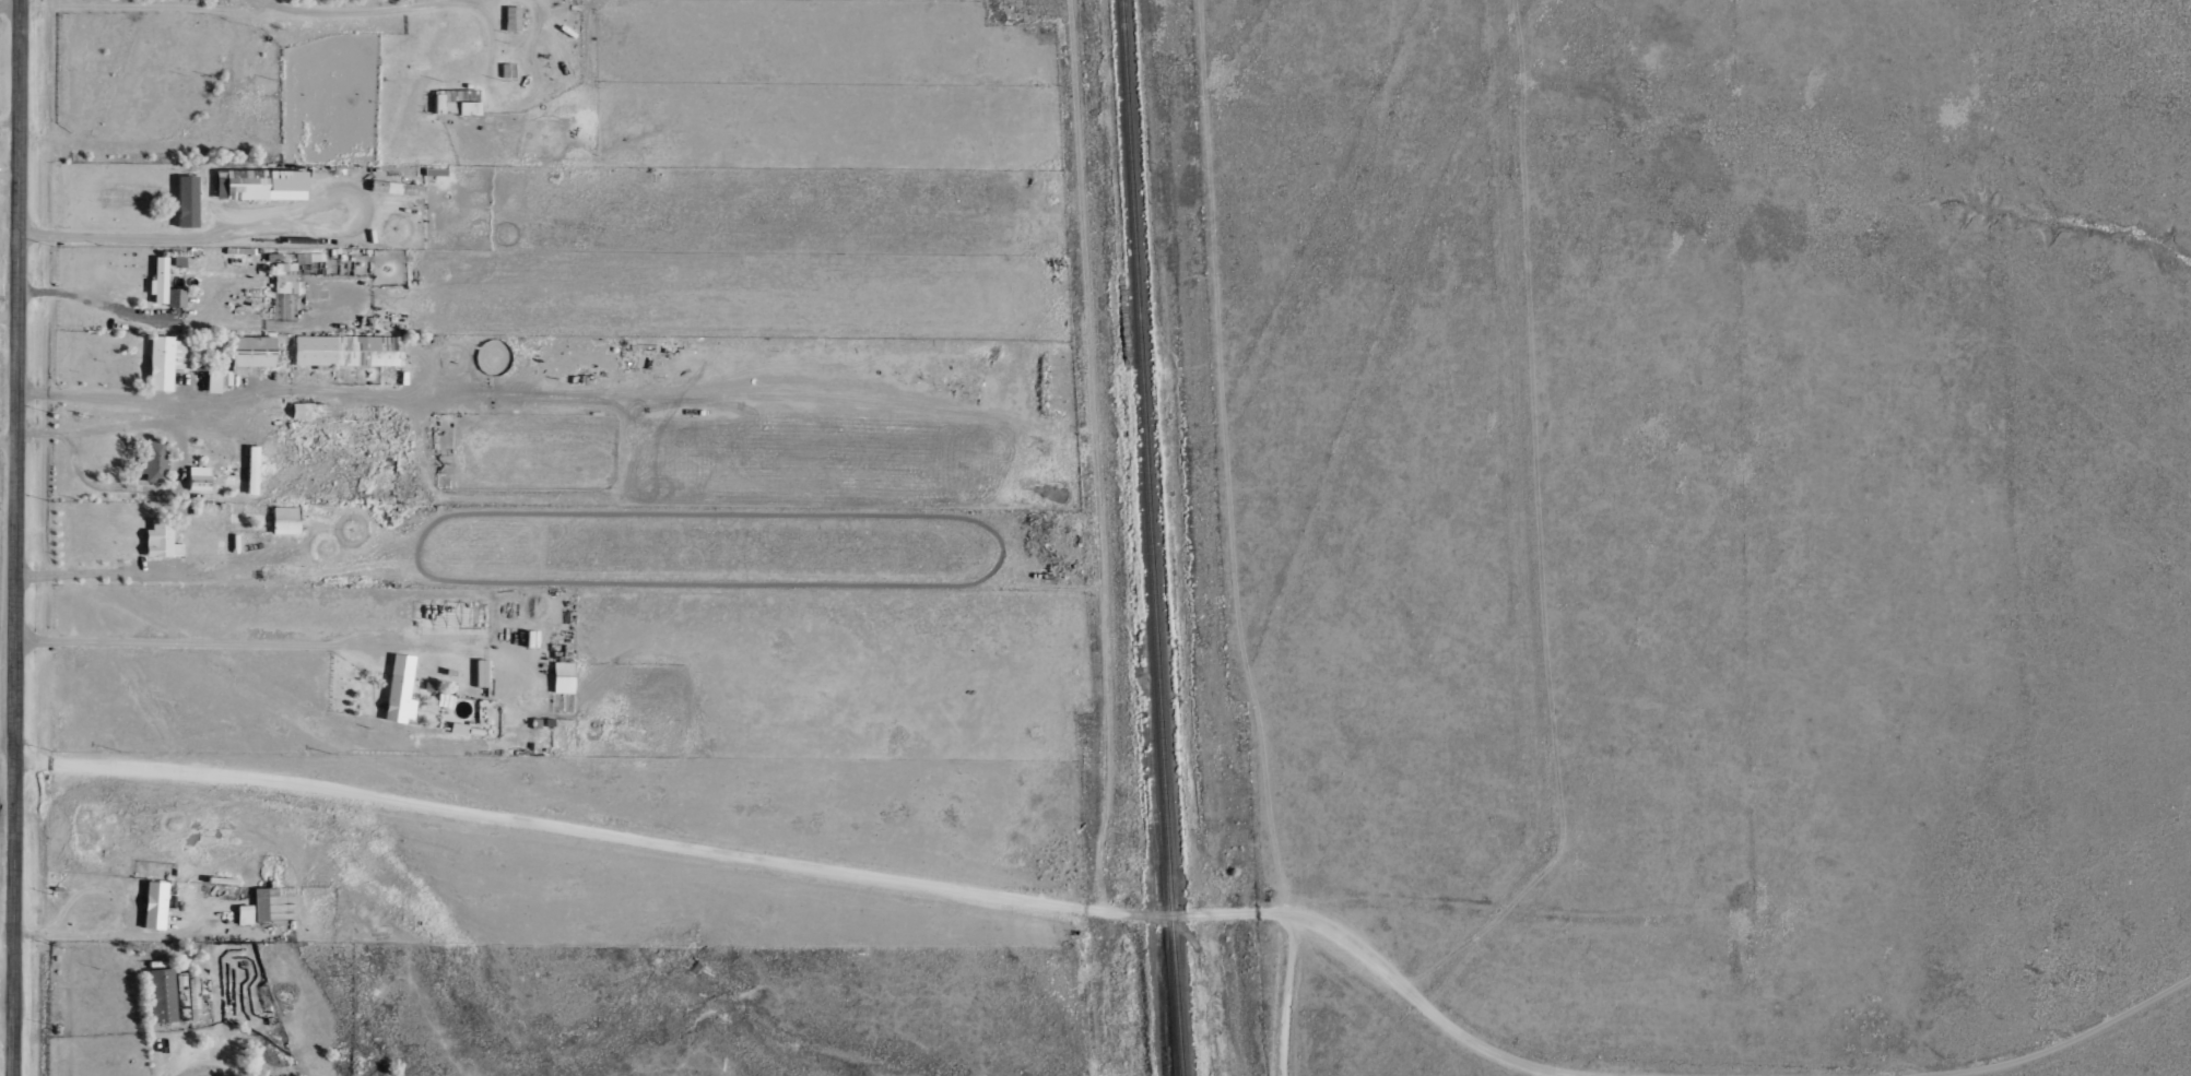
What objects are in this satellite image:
building: (509, 19)
building: (455, 102)
building: (258, 185)
building: (184, 202)
building: (285, 279)
building: (156, 281)
building: (174, 298)
building: (346, 351)
building: (248, 353)
building: (162, 360)
building: (301, 411)
building: (152, 462)
building: (250, 470)
building: (282, 520)
road: (16, 537)
railway: (1152, 537)
building: (158, 540)
building: (480, 673)
building: (561, 677)
building: (394, 700)
building: (151, 904)
building: (252, 908)
road: (7, 954)
building: (158, 995)
building: (185, 995)

